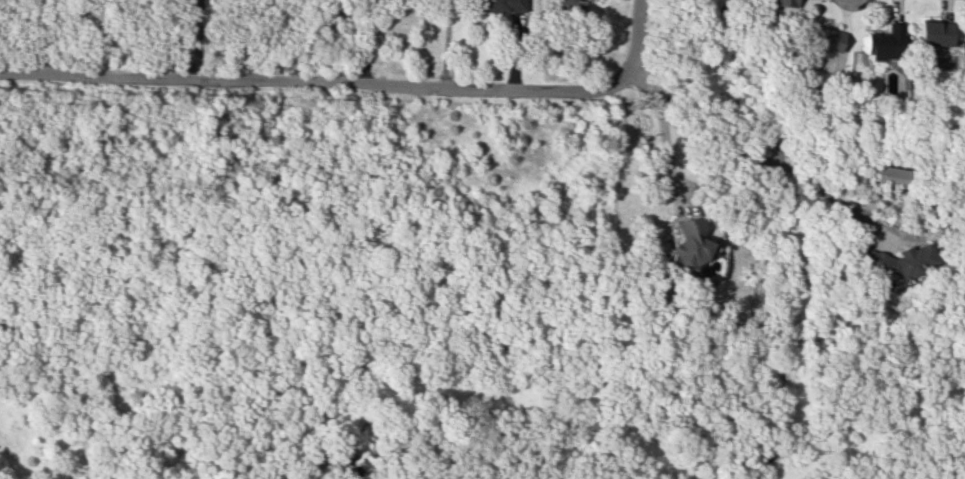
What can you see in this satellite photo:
building: (781, 2)
building: (571, 5)
building: (498, 6)
road: (61, 27)
building: (931, 33)
road: (178, 38)
building: (820, 38)
road: (314, 40)
road: (365, 41)
road: (444, 42)
building: (964, 42)
building: (883, 43)
road: (631, 47)
road: (303, 80)
road: (661, 124)
building: (887, 176)
building: (686, 246)
building: (899, 260)
road: (70, 383)
road: (85, 476)

